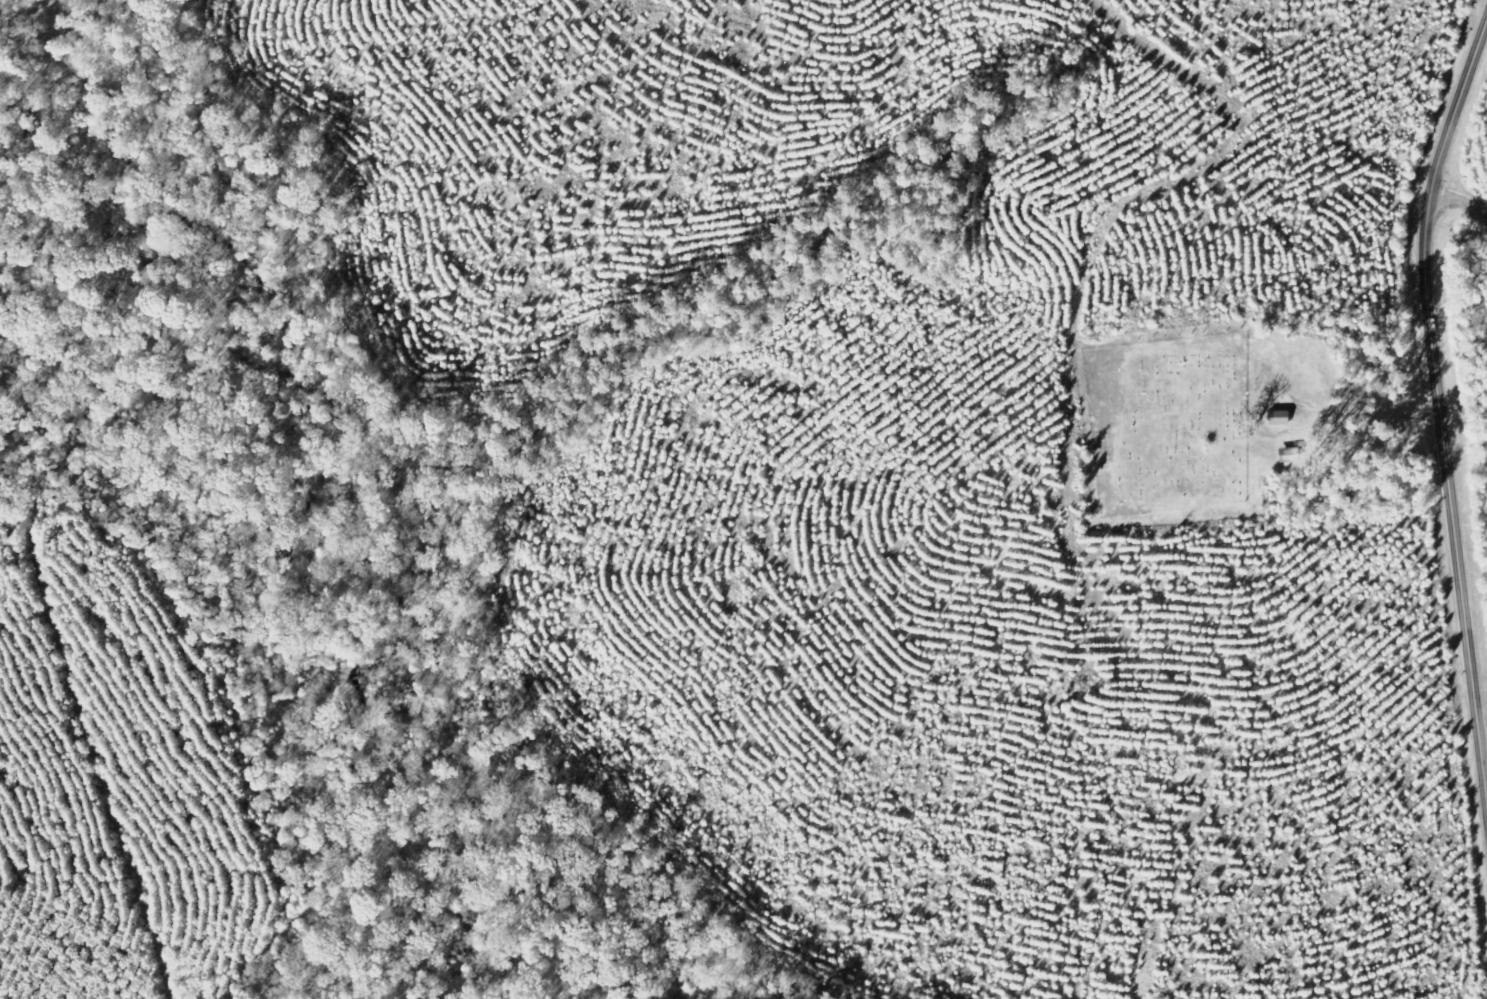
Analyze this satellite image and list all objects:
road: (1460, 202)
road: (1442, 405)
building: (1281, 417)
park: (1184, 428)

